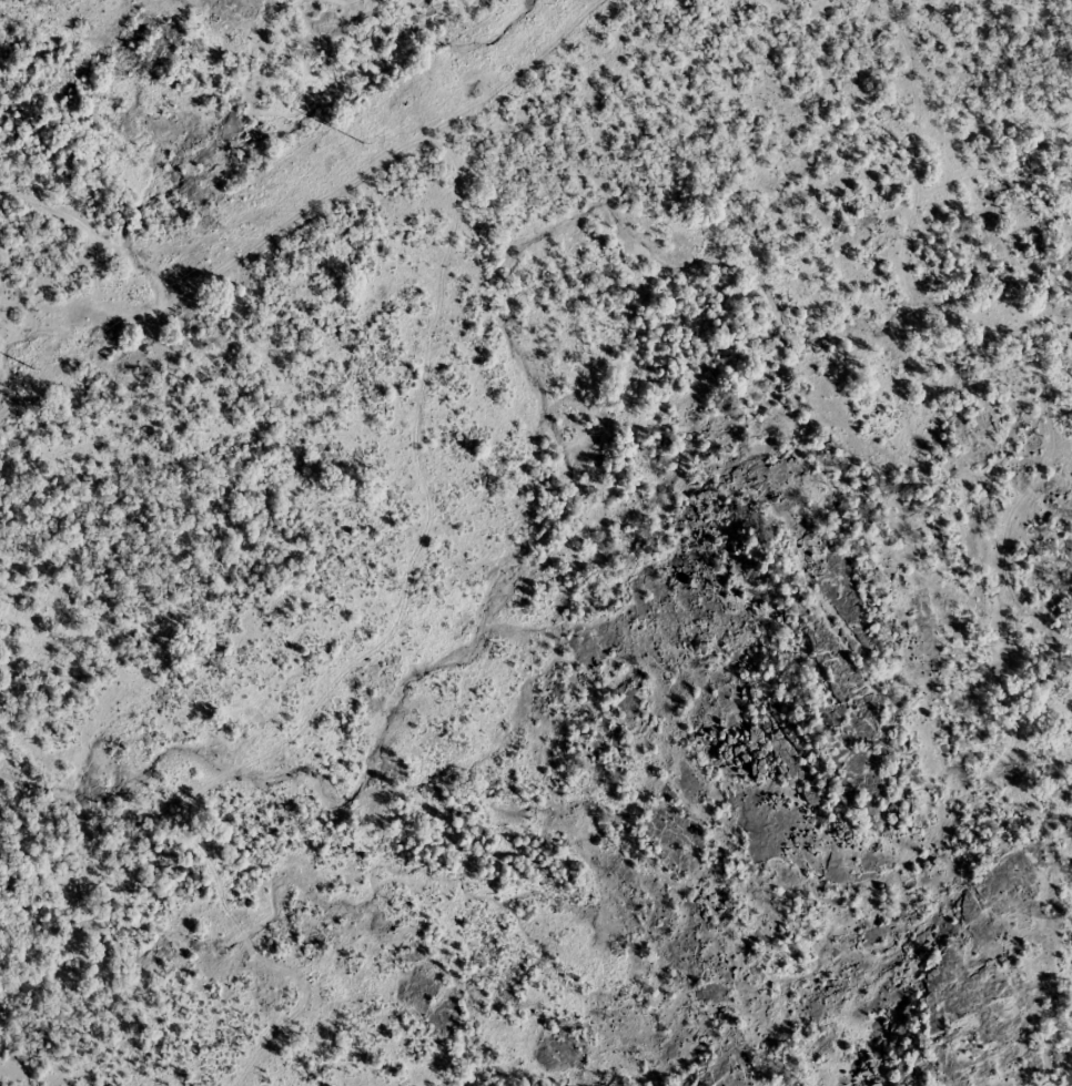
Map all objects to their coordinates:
power tower: (362, 140)
road: (318, 199)
road: (984, 324)
power tower: (32, 366)
road: (427, 551)

